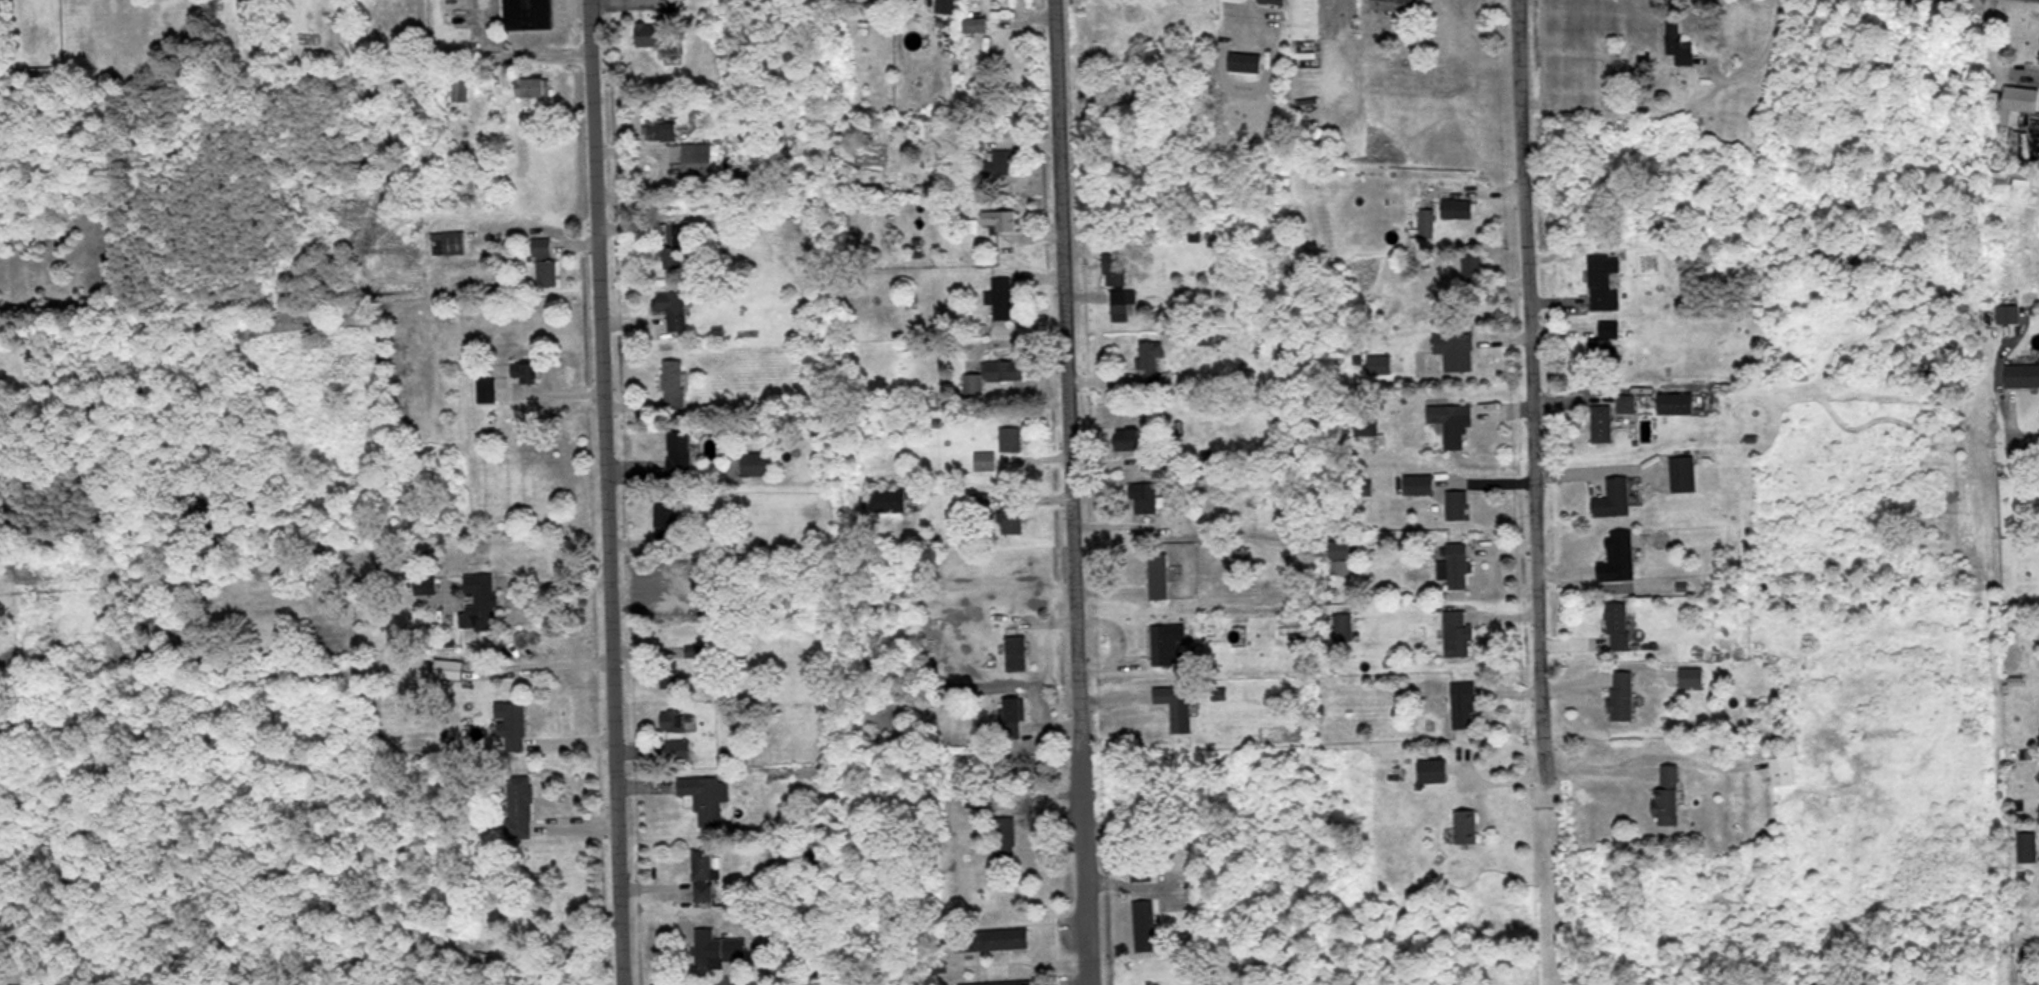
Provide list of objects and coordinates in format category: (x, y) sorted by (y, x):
building: (1274, 1)
building: (1396, 5)
building: (946, 6)
building: (456, 12)
building: (1003, 12)
building: (529, 14)
building: (1306, 19)
building: (976, 24)
building: (657, 35)
building: (1679, 44)
building: (1245, 62)
building: (41, 73)
building: (533, 87)
building: (456, 91)
building: (2018, 104)
building: (424, 109)
building: (661, 129)
building: (697, 158)
building: (1002, 162)
building: (1458, 208)
building: (1001, 219)
building: (1427, 223)
building: (448, 243)
building: (676, 243)
building: (544, 261)
building: (1473, 265)
building: (1115, 269)
building: (1604, 282)
building: (1003, 297)
building: (1122, 303)
building: (672, 307)
building: (2009, 313)
building: (1603, 345)
building: (1456, 349)
building: (1153, 362)
building: (525, 371)
building: (992, 374)
building: (2023, 374)
building: (673, 383)
building: (485, 387)
building: (1627, 403)
building: (1676, 403)
building: (1602, 423)
building: (1366, 424)
building: (1457, 425)
road: (1516, 429)
building: (1011, 437)
building: (1129, 437)
road: (2008, 440)
building: (680, 445)
building: (757, 460)
building: (985, 460)
building: (1683, 473)
building: (1420, 483)
road: (601, 492)
road: (1069, 492)
road: (1531, 492)
building: (1145, 497)
building: (1614, 497)
building: (889, 498)
building: (1456, 503)
building: (667, 516)
building: (1011, 519)
building: (1341, 556)
building: (1619, 556)
building: (1456, 564)
building: (1159, 574)
building: (425, 584)
building: (480, 599)
building: (1619, 624)
building: (1344, 625)
building: (1457, 632)
building: (1168, 643)
building: (696, 649)
building: (1016, 651)
building: (449, 667)
building: (669, 673)
building: (1692, 675)
building: (230, 685)
building: (1623, 694)
building: (1464, 703)
building: (1177, 704)
building: (1013, 716)
building: (674, 718)
building: (511, 724)
building: (682, 747)
building: (1784, 762)
building: (1433, 769)
building: (1668, 795)
building: (708, 798)
building: (520, 805)
building: (1466, 825)
building: (1006, 840)
building: (2028, 845)
building: (1140, 854)
building: (703, 868)
building: (1144, 924)
building: (992, 938)
building: (718, 946)
building: (1204, 978)
building: (999, 982)

